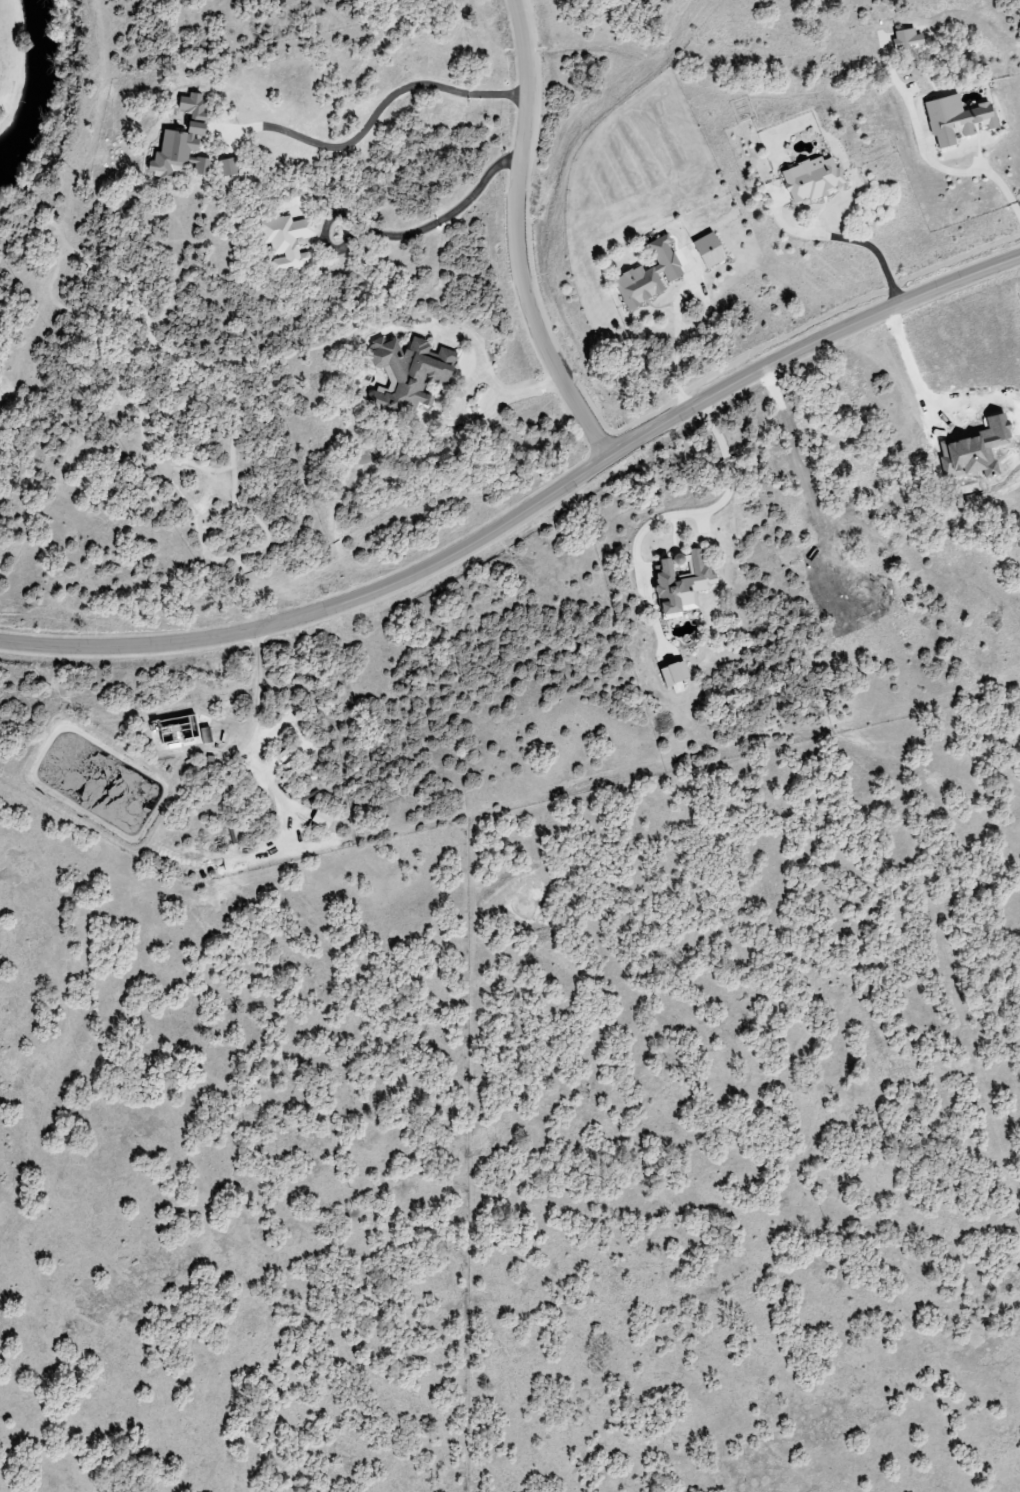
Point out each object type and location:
building: (908, 40)
park: (34, 86)
road: (376, 110)
building: (956, 119)
building: (182, 143)
road: (974, 164)
building: (229, 167)
building: (812, 179)
road: (396, 236)
road: (847, 239)
road: (516, 240)
building: (286, 242)
building: (709, 249)
building: (649, 274)
road: (676, 361)
building: (410, 370)
road: (508, 396)
road: (458, 419)
road: (731, 477)
road: (527, 511)
building: (682, 581)
building: (674, 672)

